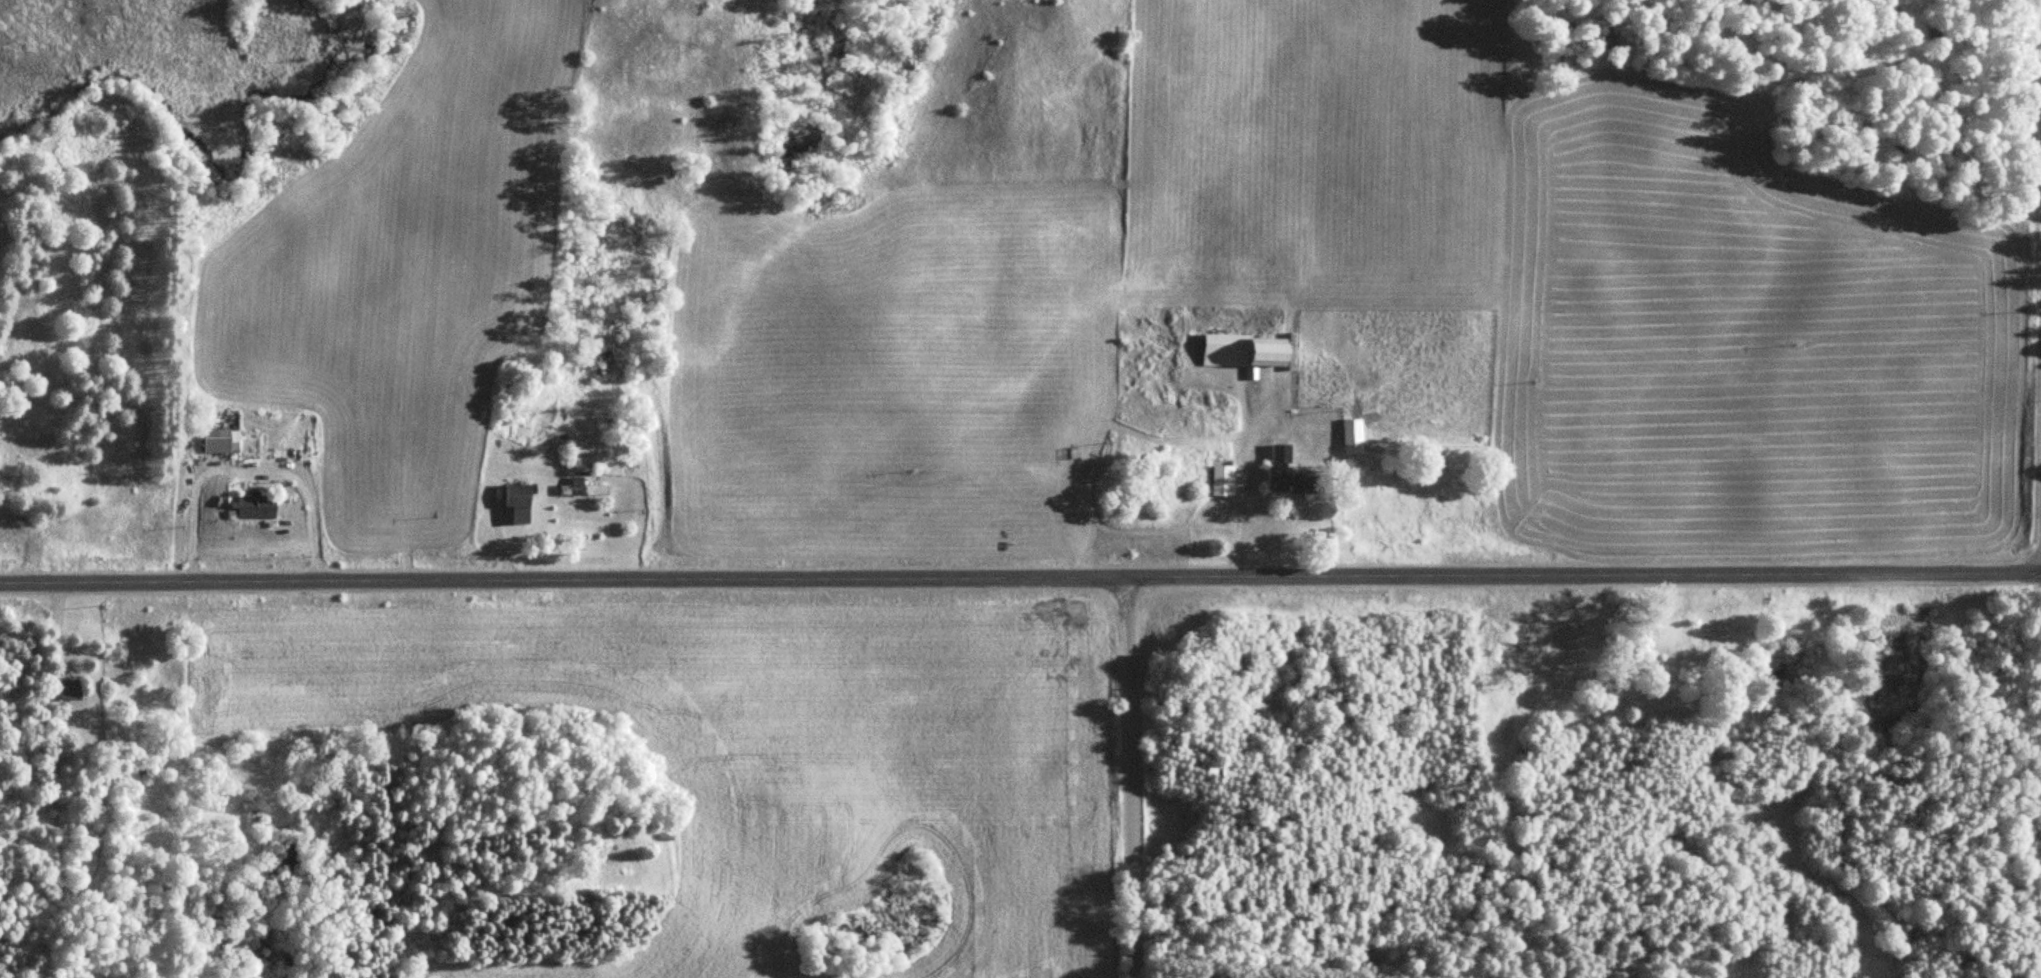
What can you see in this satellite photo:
building: (1249, 351)
building: (1356, 435)
building: (1227, 479)
building: (1298, 479)
building: (587, 488)
building: (520, 503)
building: (257, 506)
road: (1020, 576)
building: (72, 688)
road: (1131, 777)

